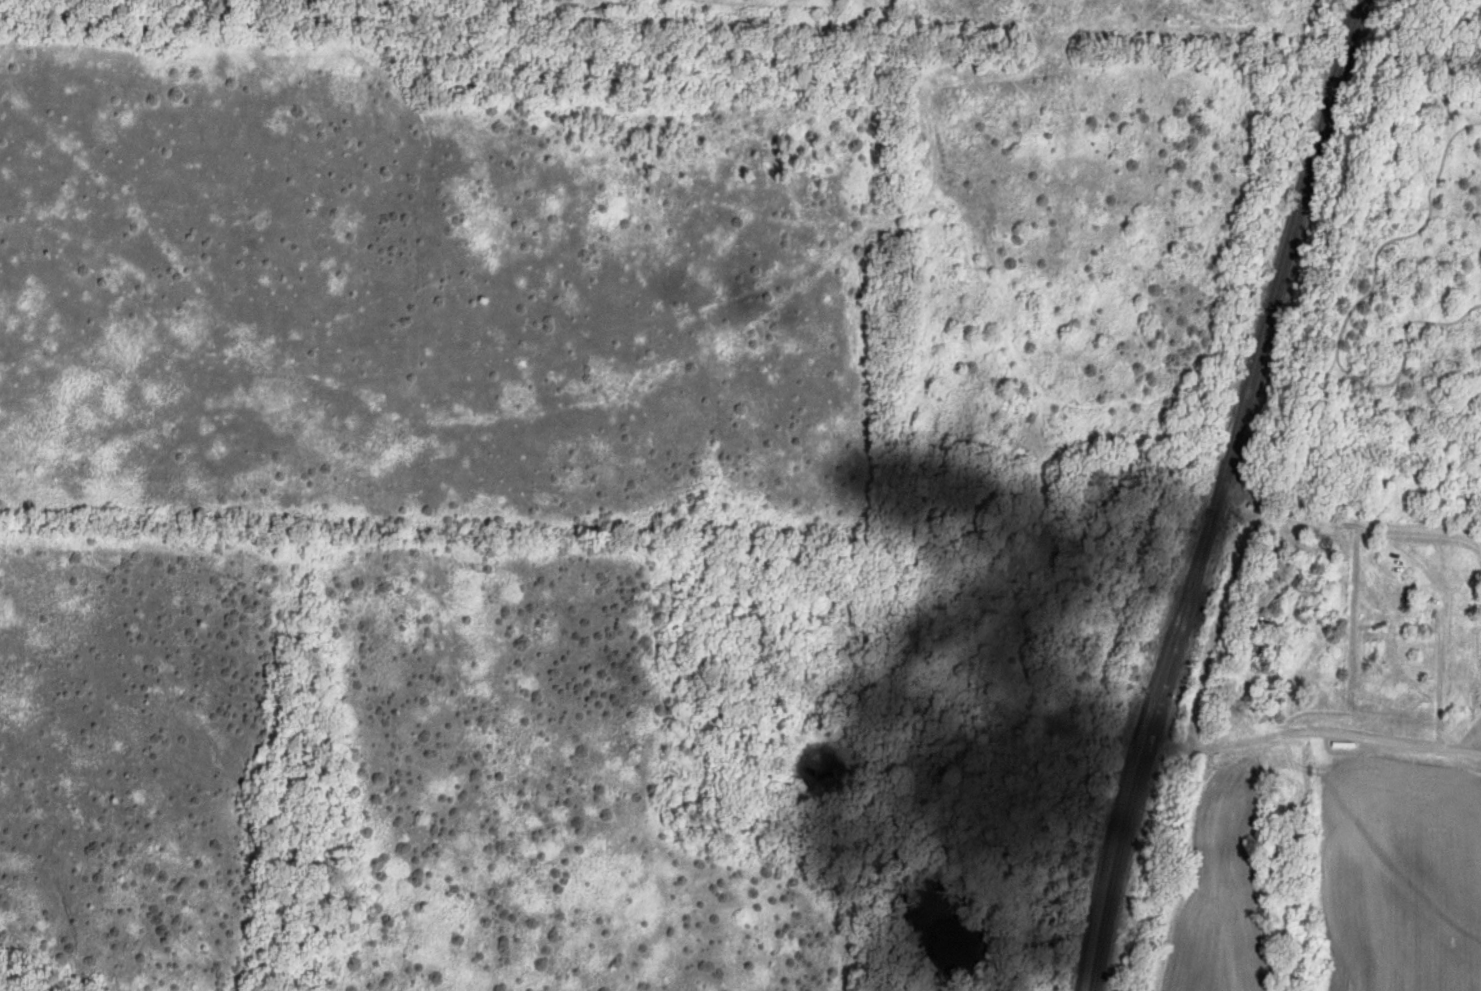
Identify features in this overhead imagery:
railway: (1217, 493)
road: (1381, 741)
railway: (1131, 757)

